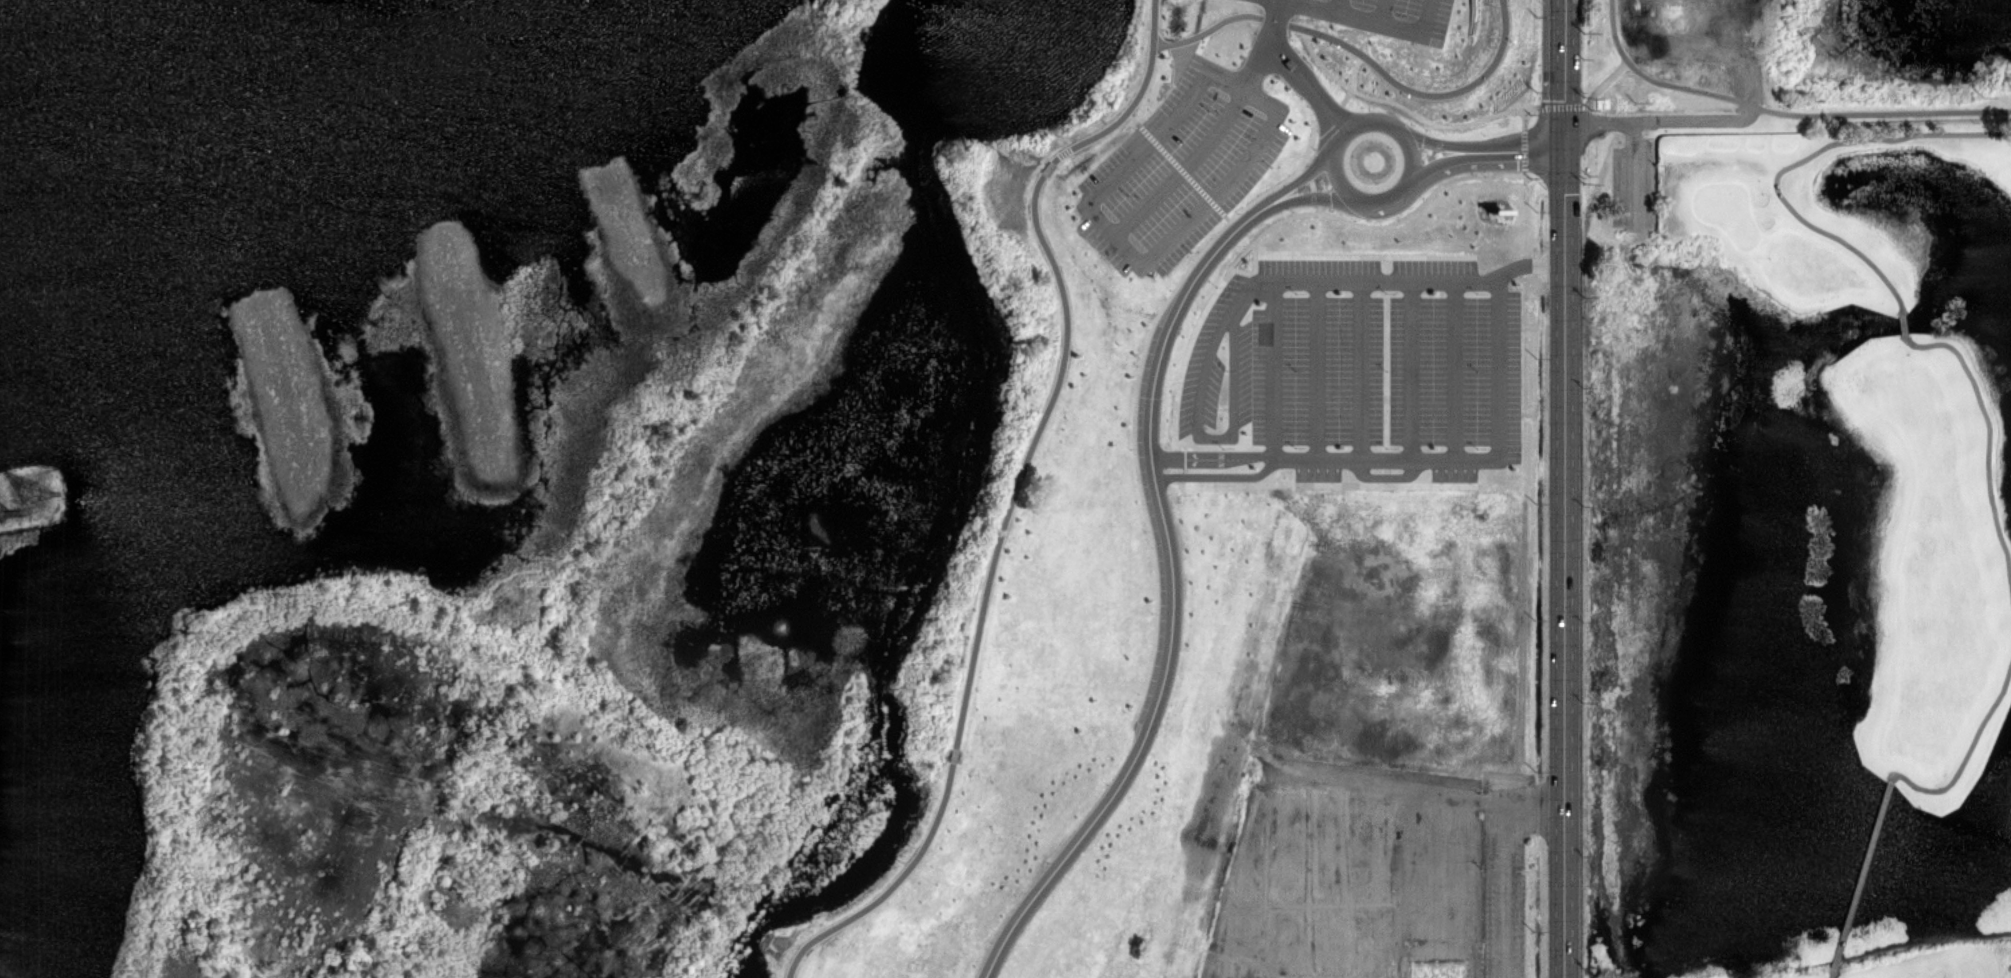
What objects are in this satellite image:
road: (1155, 23)
road: (1358, 53)
road: (1284, 58)
road: (1626, 59)
road: (1689, 87)
road: (1555, 105)
road: (1400, 107)
road: (1339, 108)
road: (1837, 115)
road: (1619, 121)
road: (1322, 122)
traffic signals: (1567, 123)
road: (1435, 141)
road: (1520, 151)
traffic signals: (1567, 151)
road: (1801, 160)
road: (1439, 166)
road: (1297, 179)
road: (1400, 190)
road: (1309, 195)
park: (1280, 259)
road: (1902, 320)
road: (1985, 446)
road: (1212, 456)
road: (1311, 459)
road: (1216, 476)
road: (1566, 489)
power tower: (29, 497)
road: (1007, 515)
park: (1796, 551)
road: (1172, 600)
road: (1965, 750)
road: (1860, 873)
road: (1829, 974)

